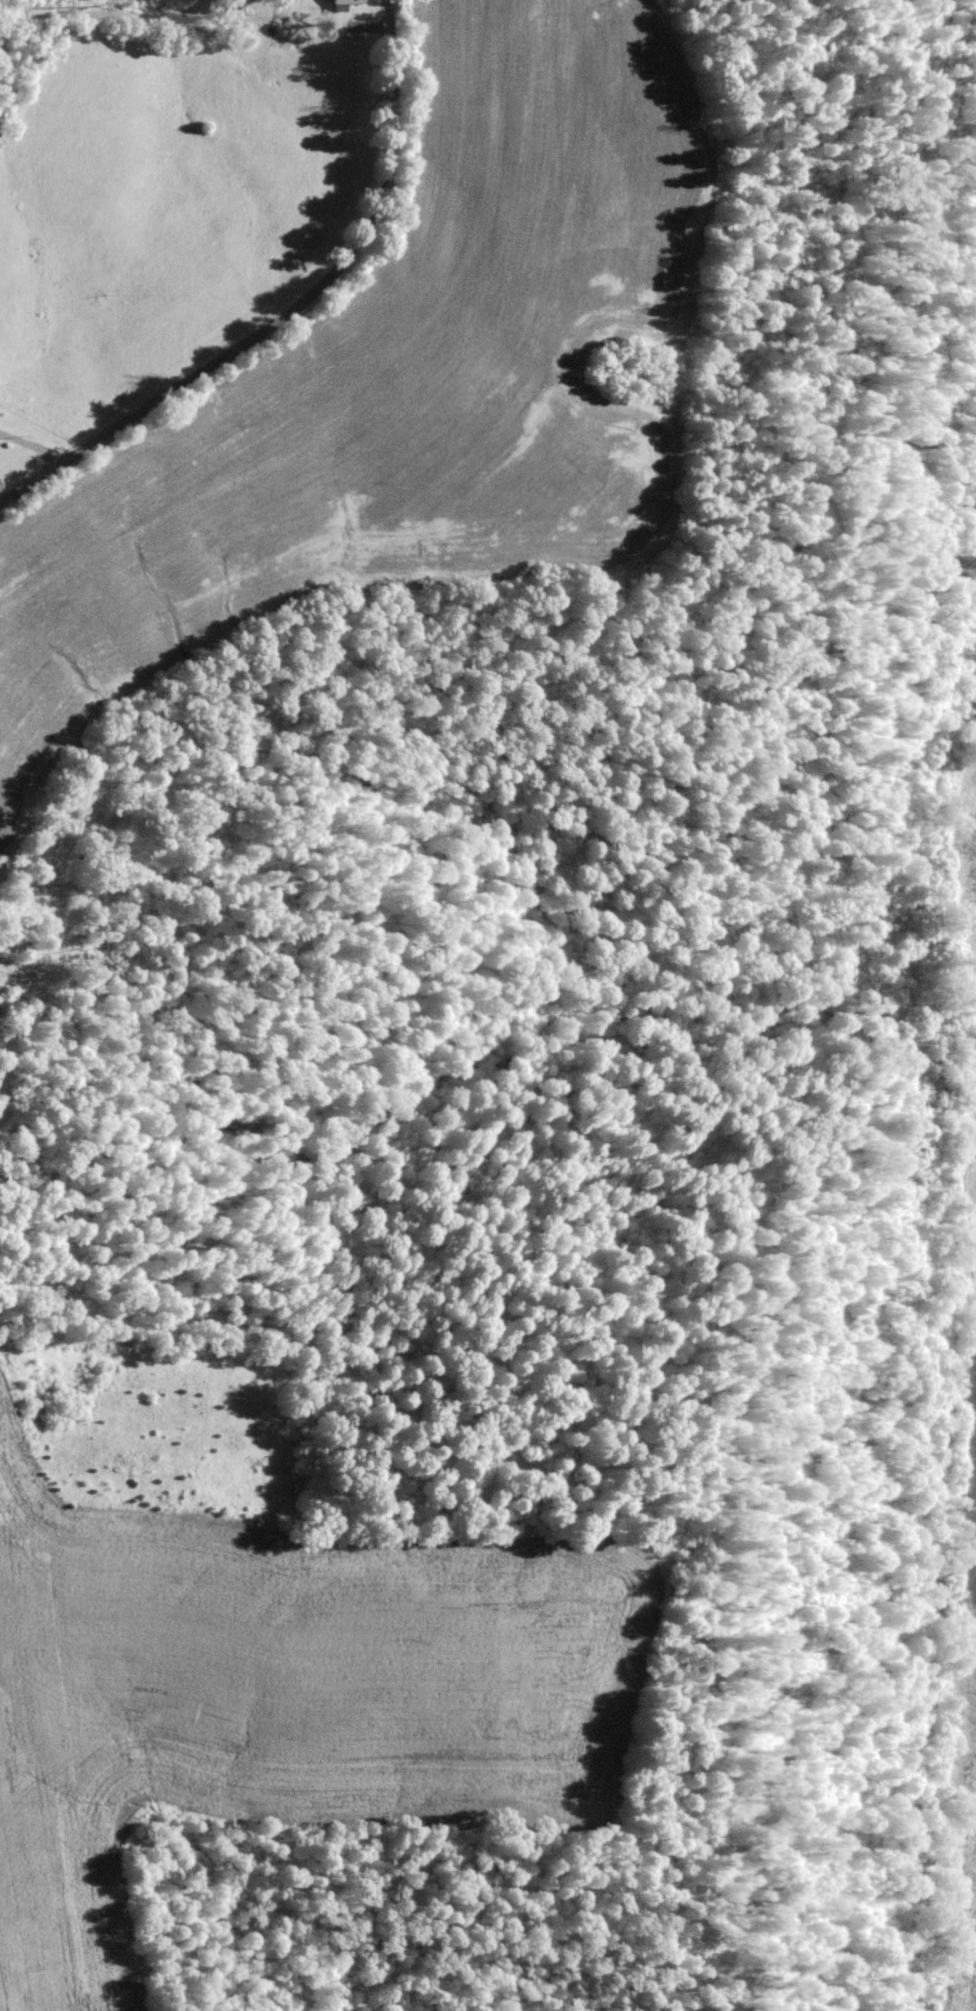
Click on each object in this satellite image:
building: (347, 2)
road: (314, 342)
road: (709, 679)
road: (594, 1313)

